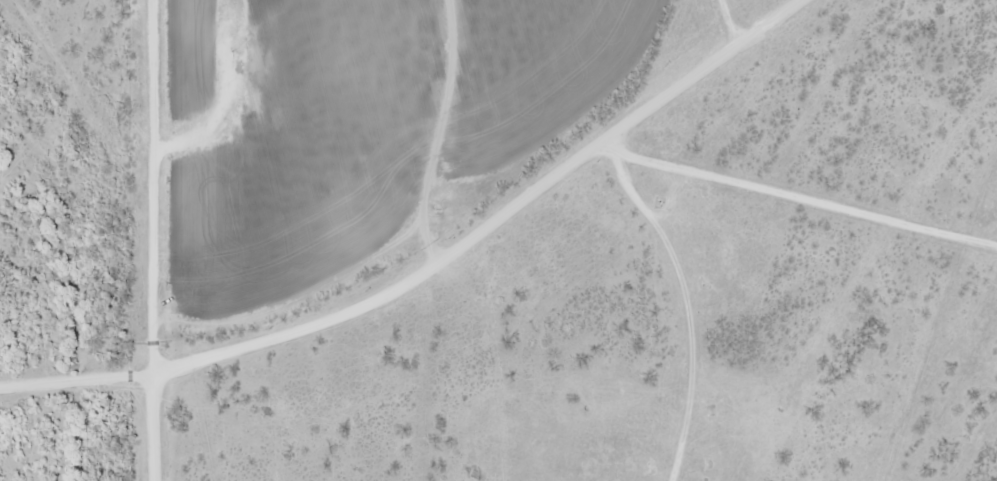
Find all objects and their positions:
road: (143, 180)
road: (818, 208)
road: (422, 256)
road: (693, 296)
road: (147, 420)

